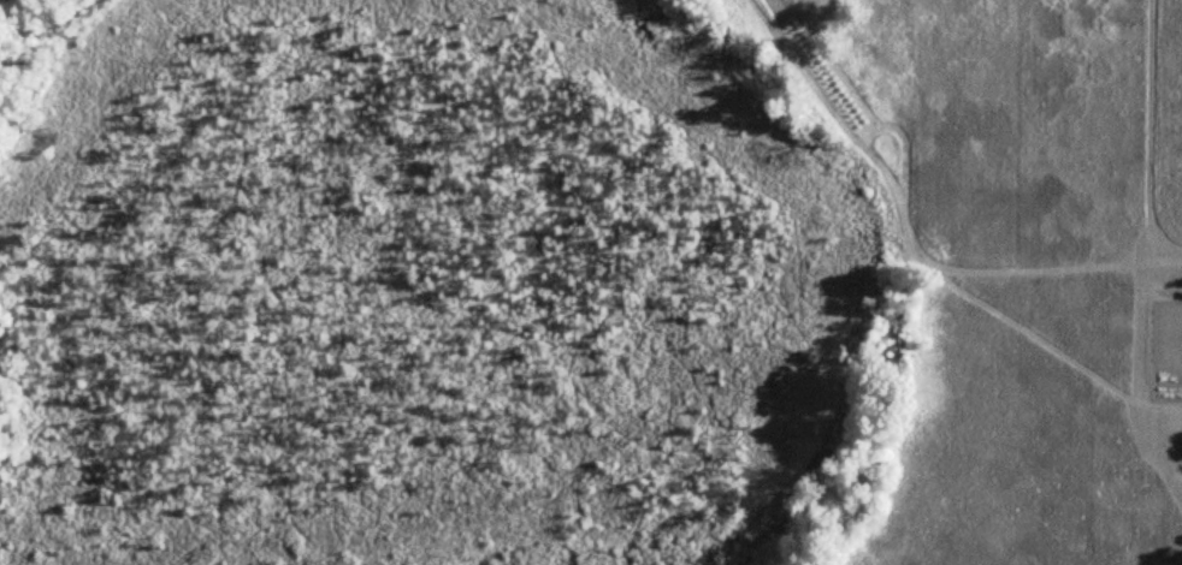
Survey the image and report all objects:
crop: (1000, 119)
crop: (1168, 124)
crop: (1032, 414)

